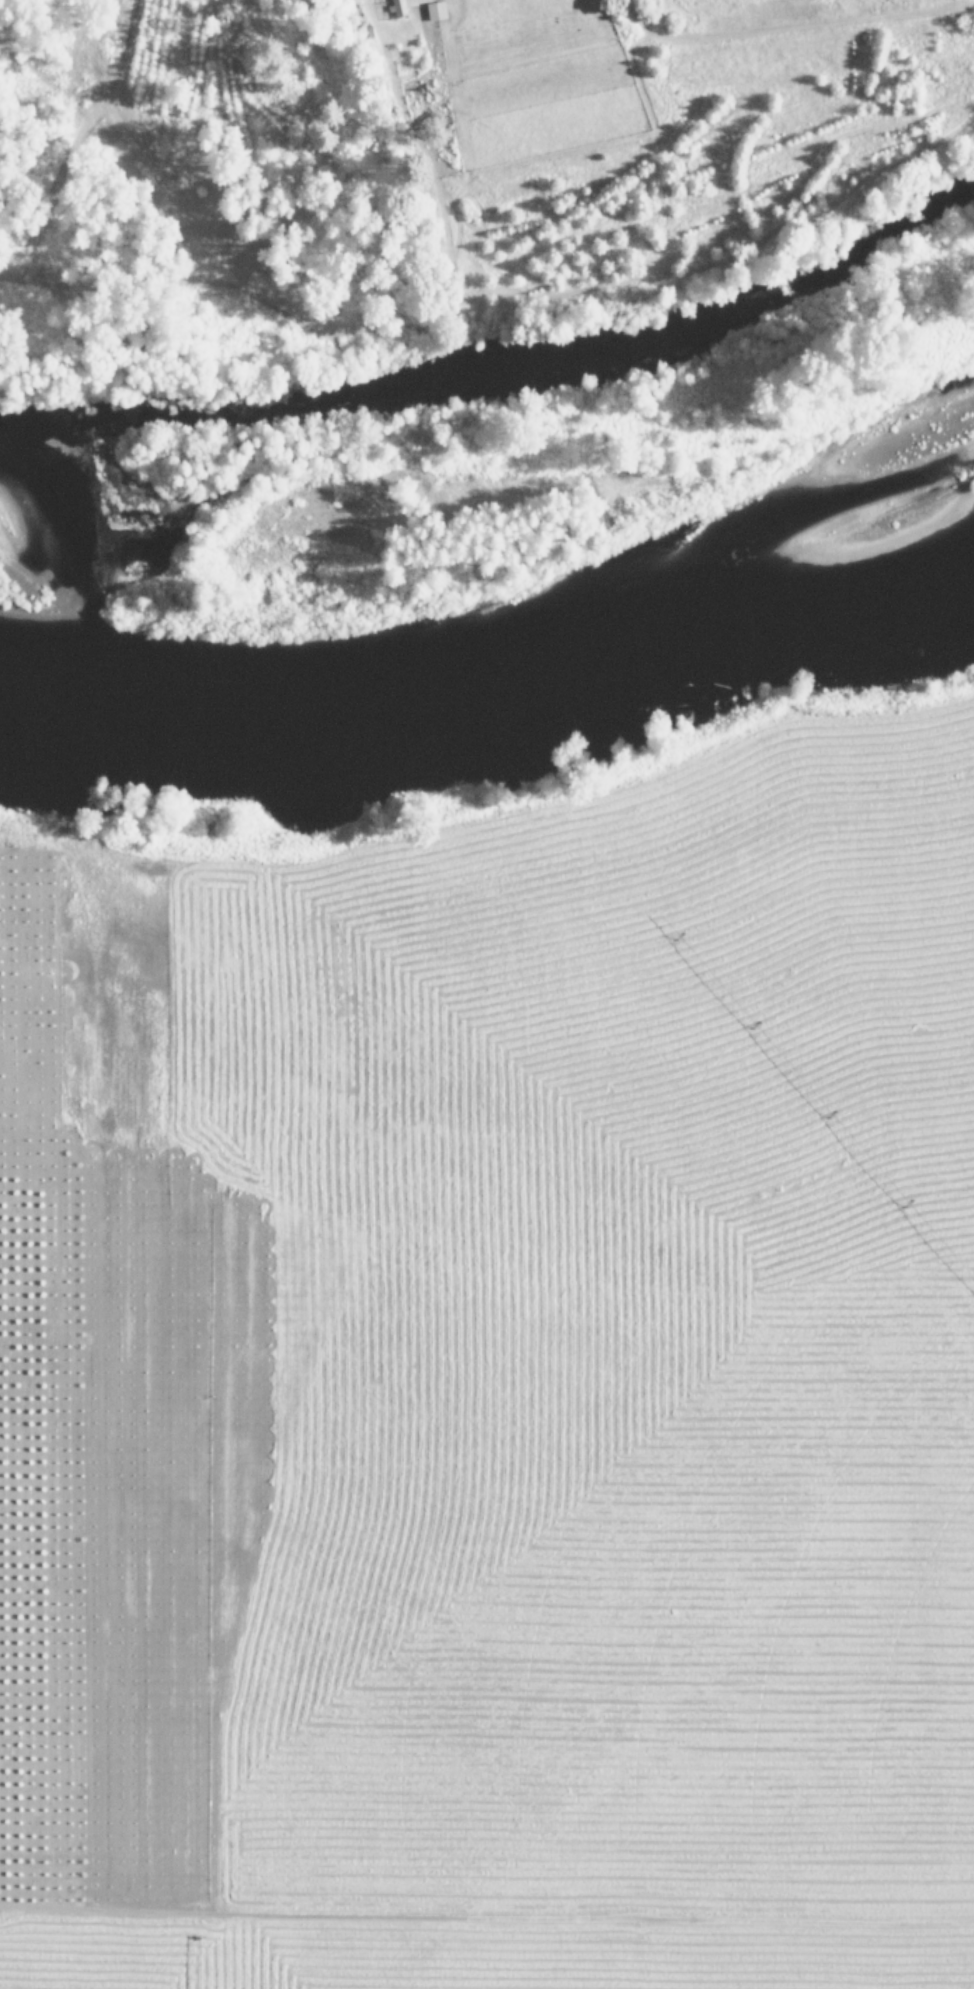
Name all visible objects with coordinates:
road: (746, 25)
crop: (654, 123)
river: (492, 684)
road: (457, 1331)
crop: (496, 1387)

